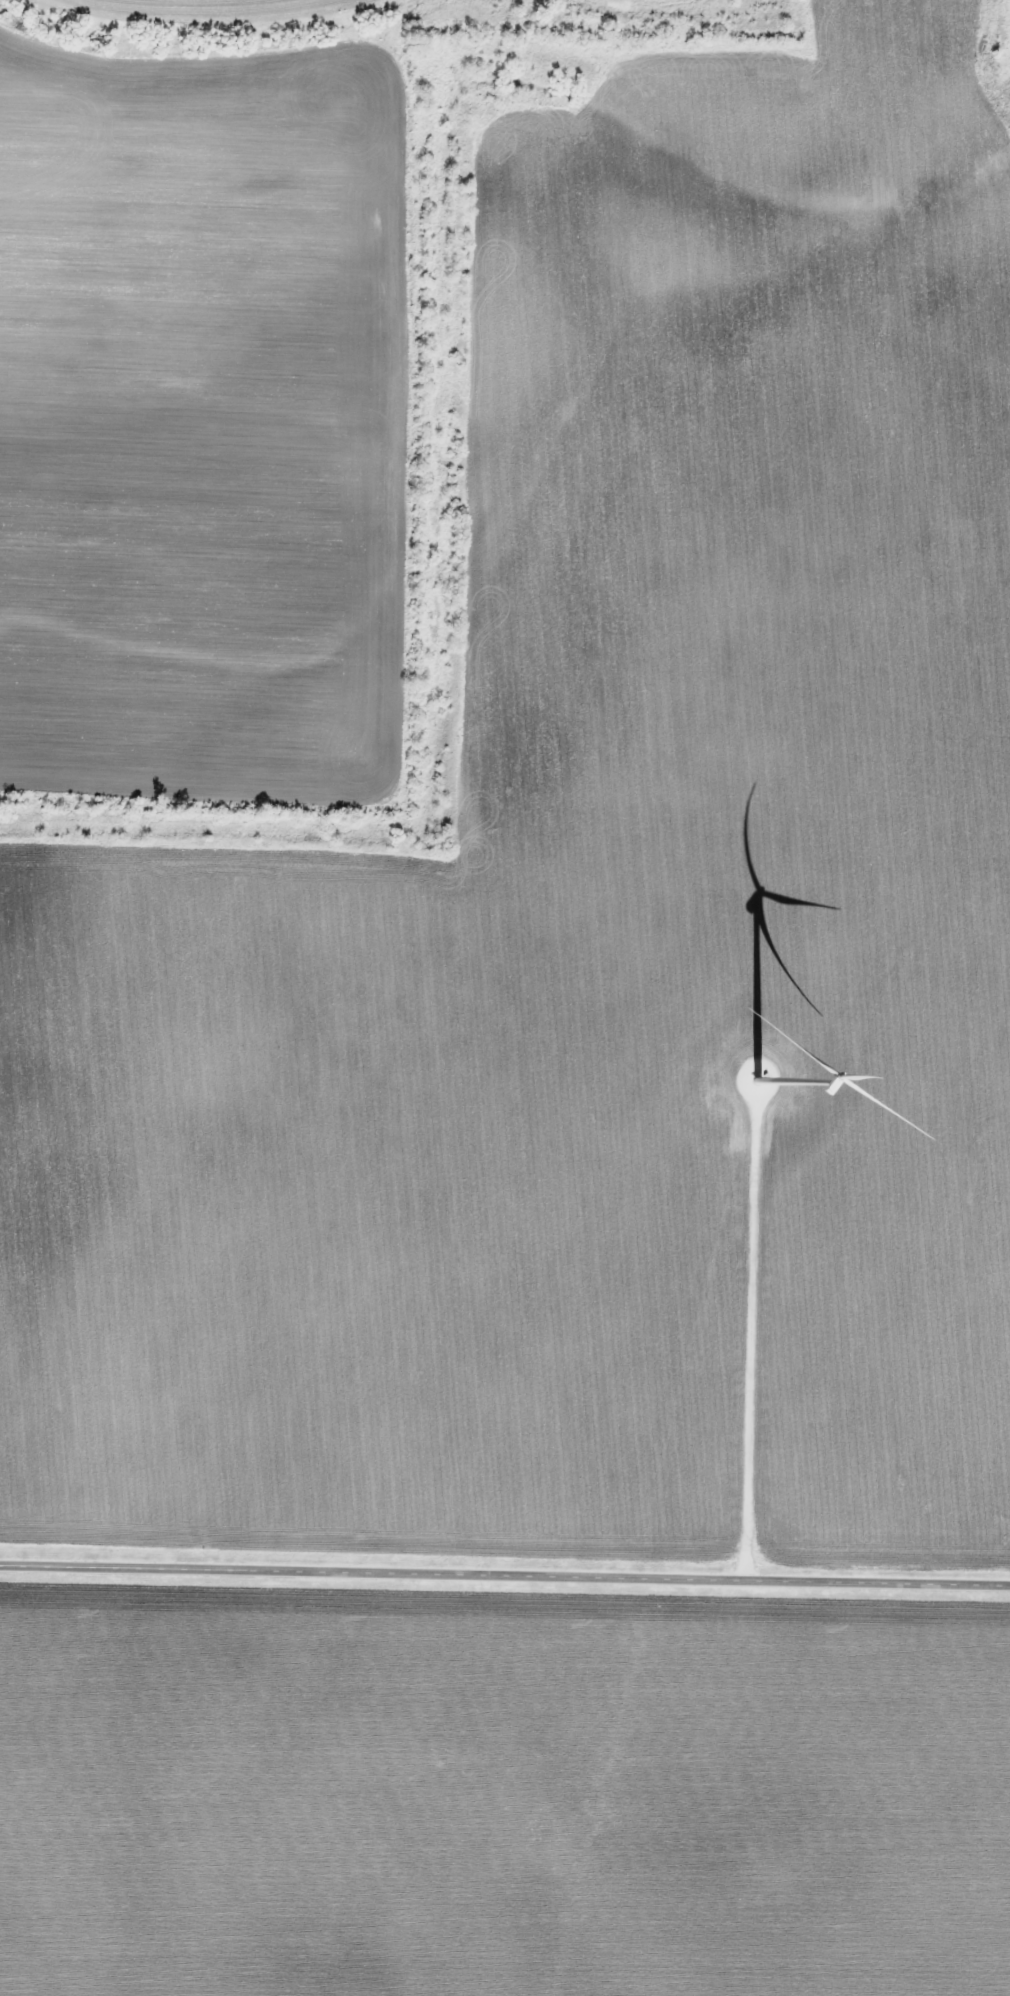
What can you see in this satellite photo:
wind turbine: (755, 1080)
road: (505, 1576)

